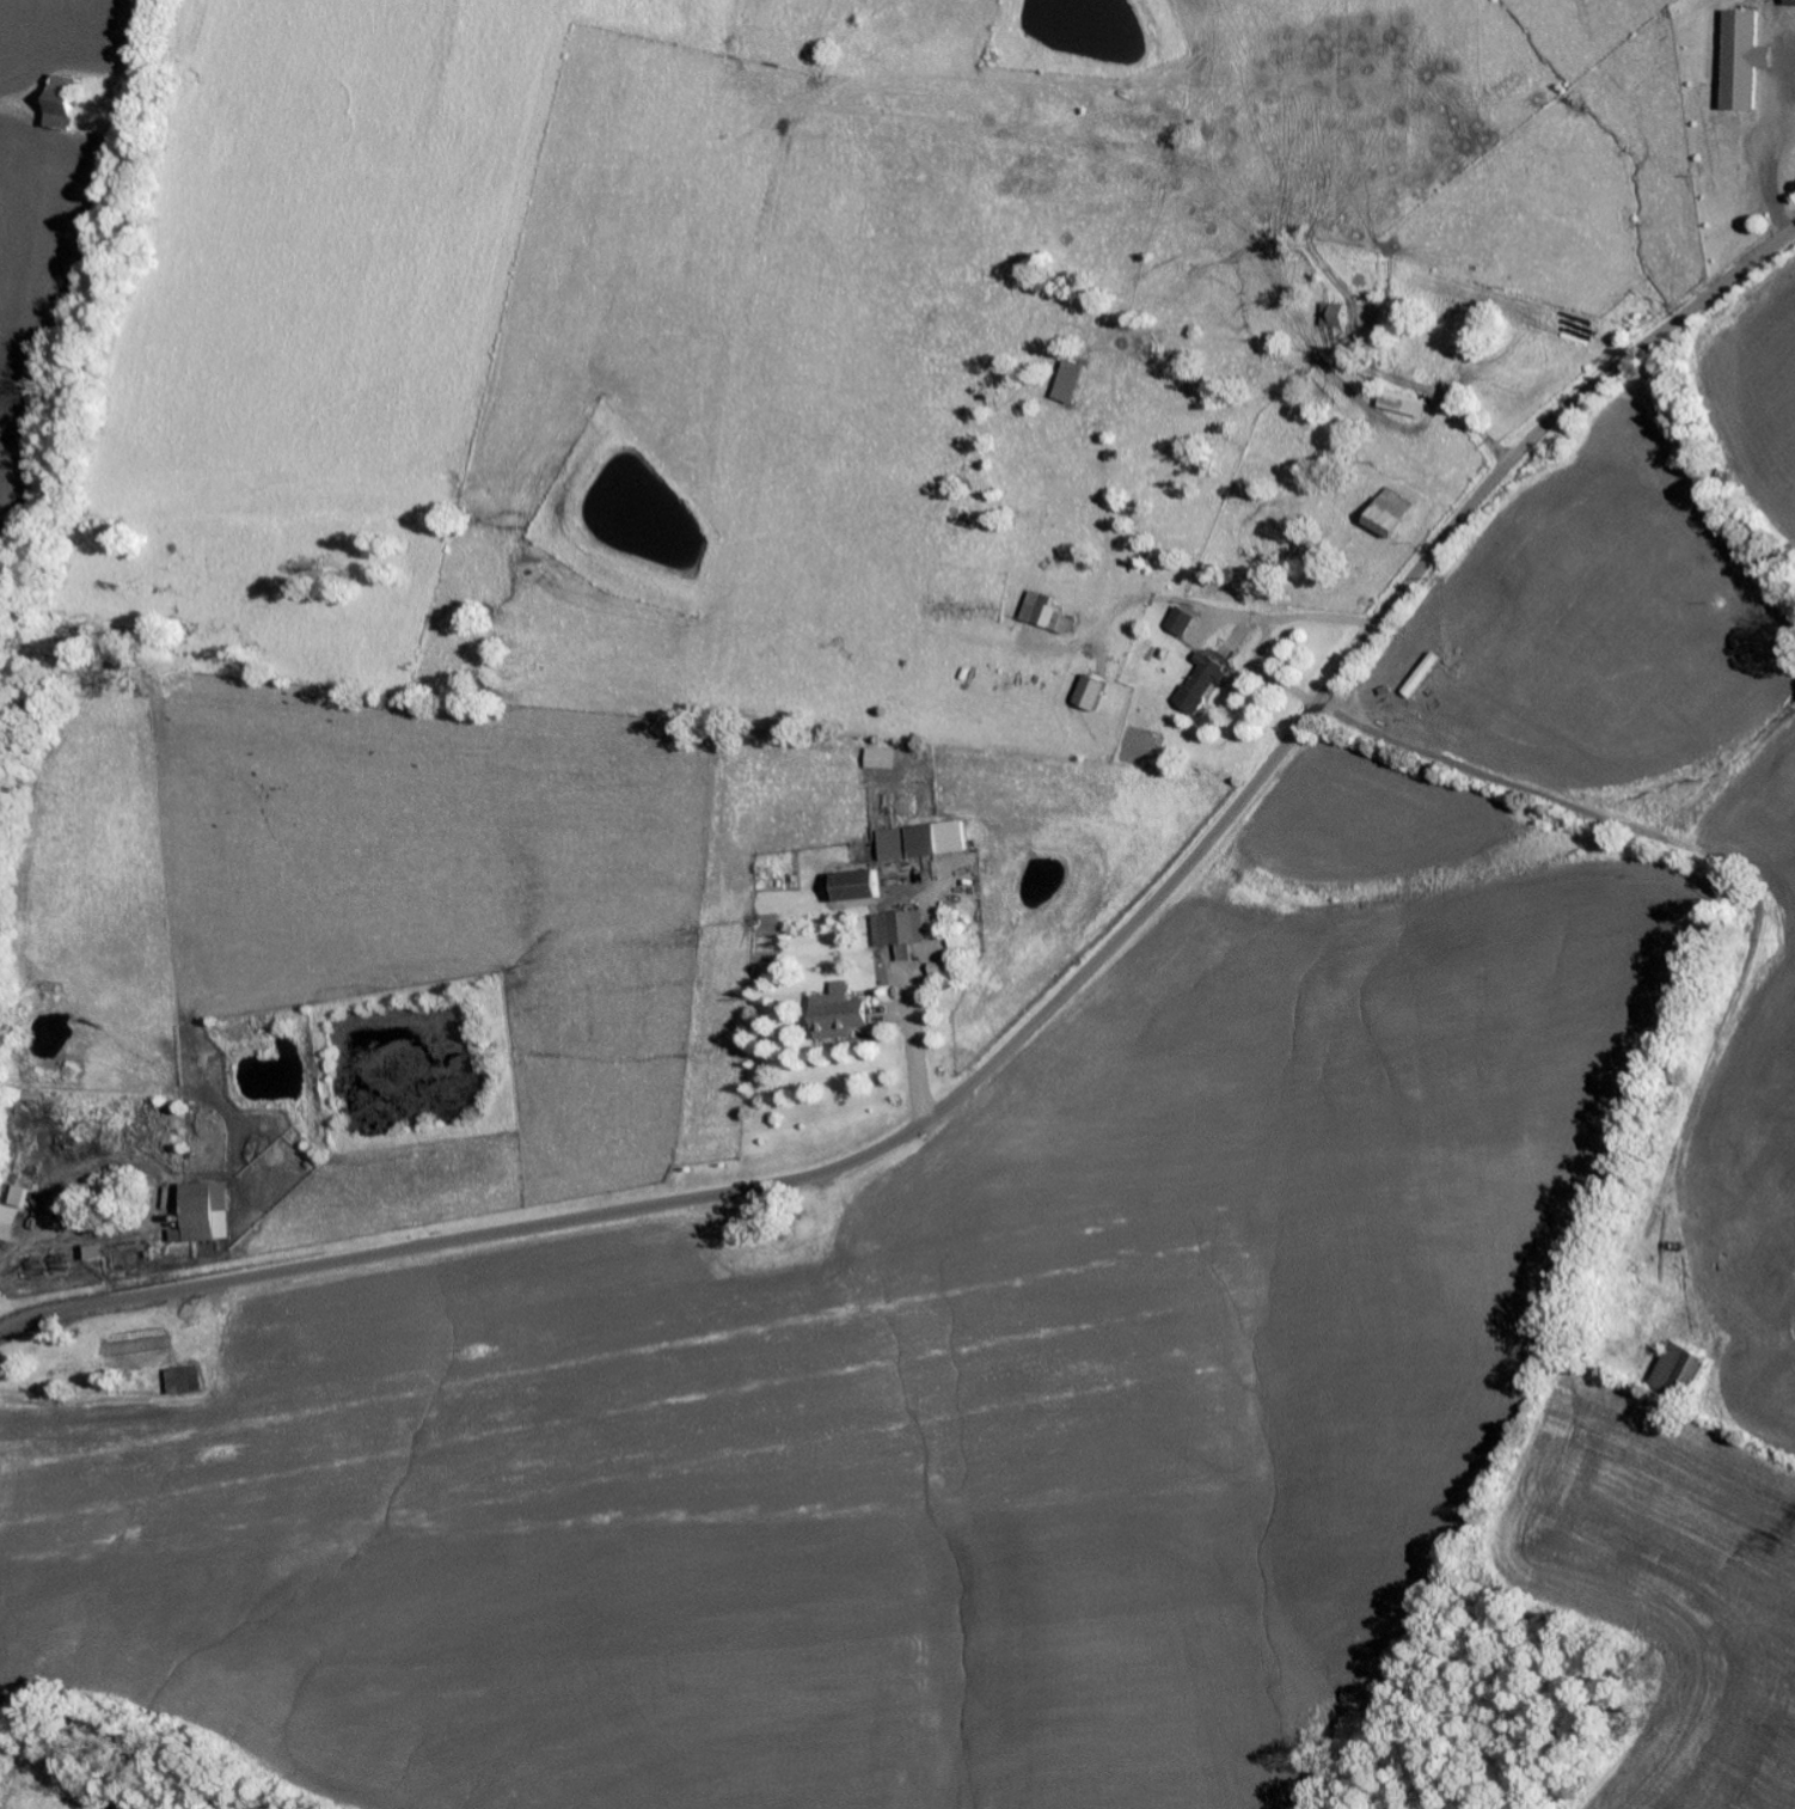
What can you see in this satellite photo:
building: (1736, 61)
building: (68, 103)
building: (1333, 316)
building: (1067, 383)
building: (1399, 403)
building: (1384, 512)
building: (1044, 615)
building: (1177, 622)
building: (1199, 683)
building: (1086, 693)
building: (886, 759)
building: (944, 841)
building: (897, 845)
building: (863, 887)
building: (902, 933)
building: (843, 1014)
road: (1035, 1023)
building: (22, 1198)
building: (207, 1215)
building: (10, 1223)
building: (98, 1253)
building: (1675, 1369)
building: (183, 1381)

